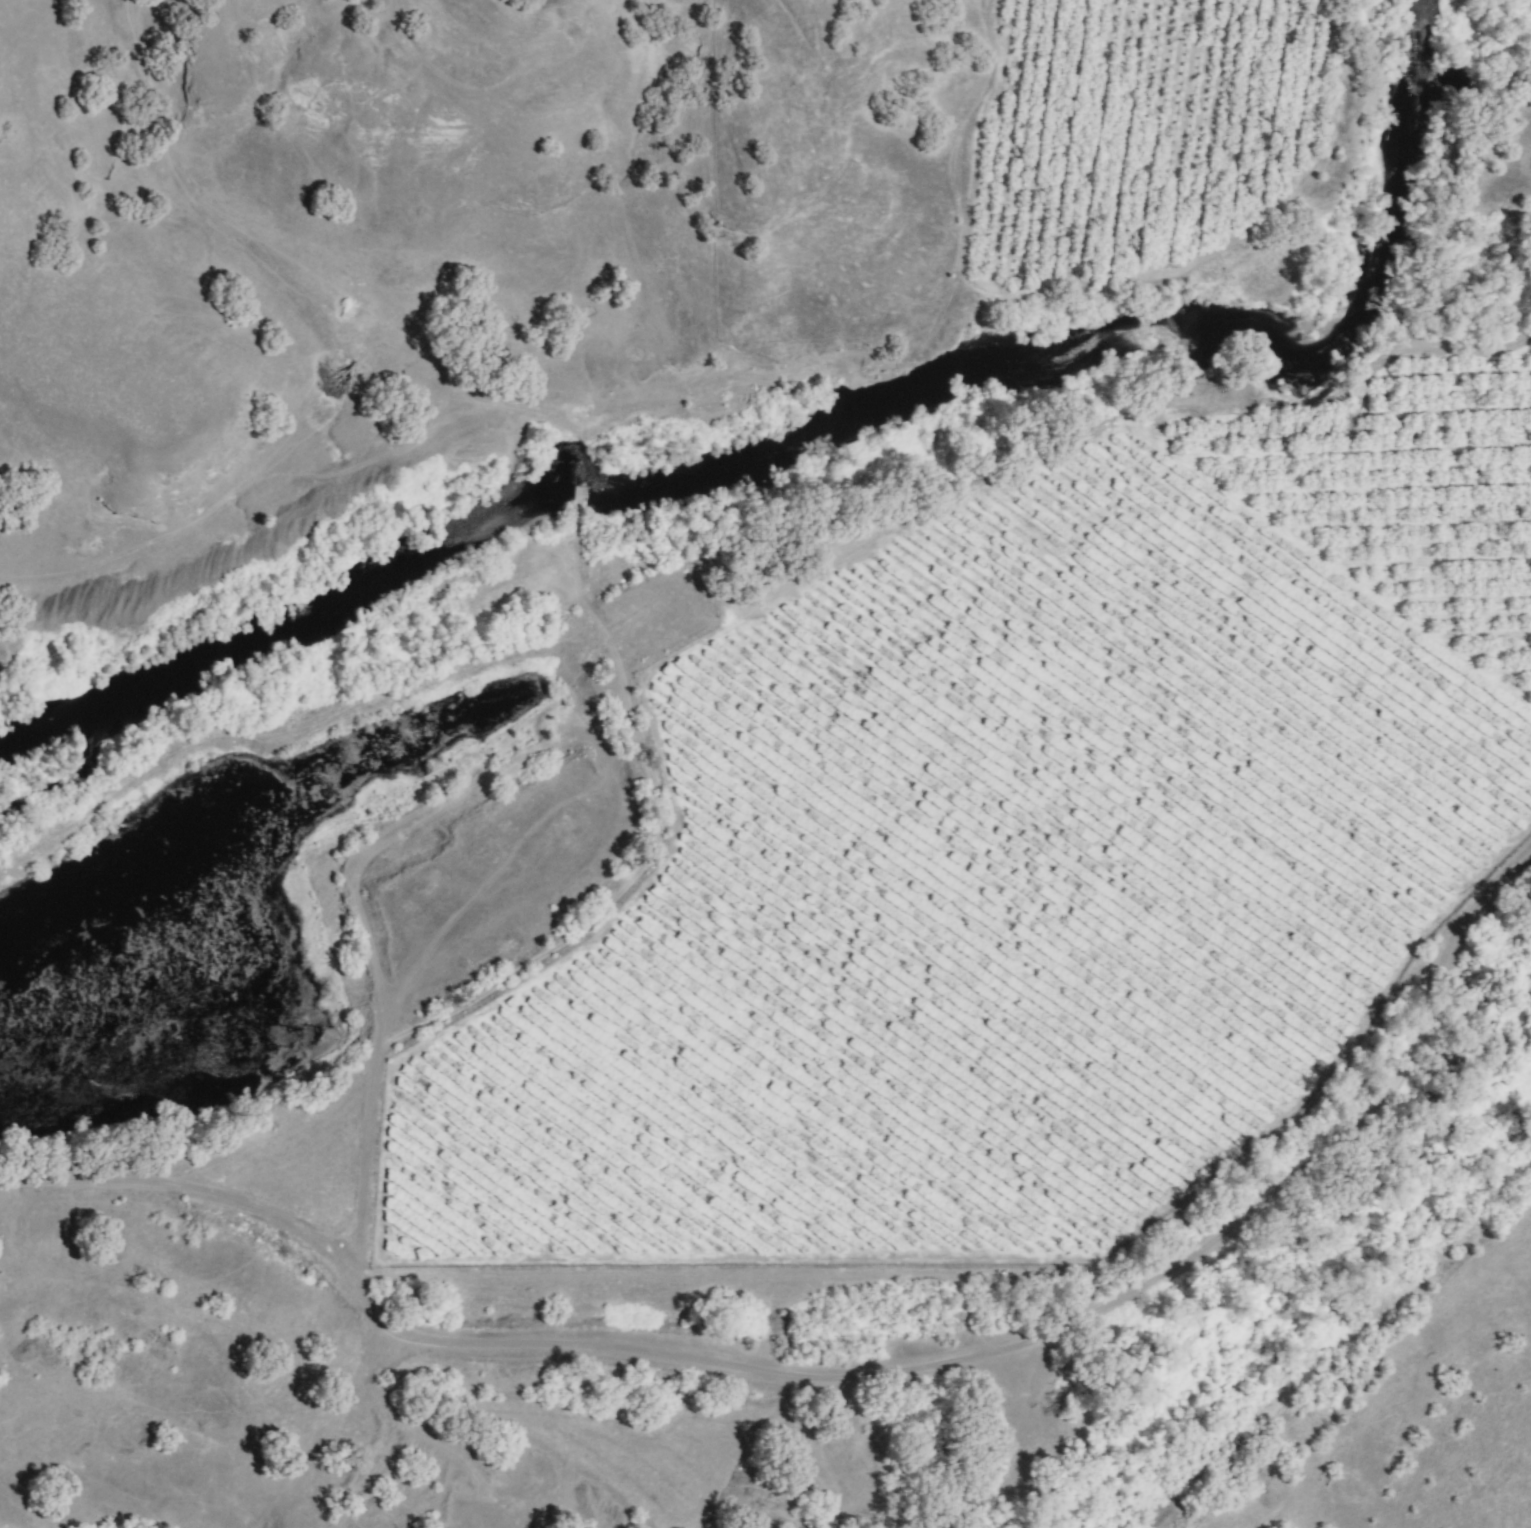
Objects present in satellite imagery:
river: (1126, 338)
river: (289, 615)
crop: (1056, 733)

